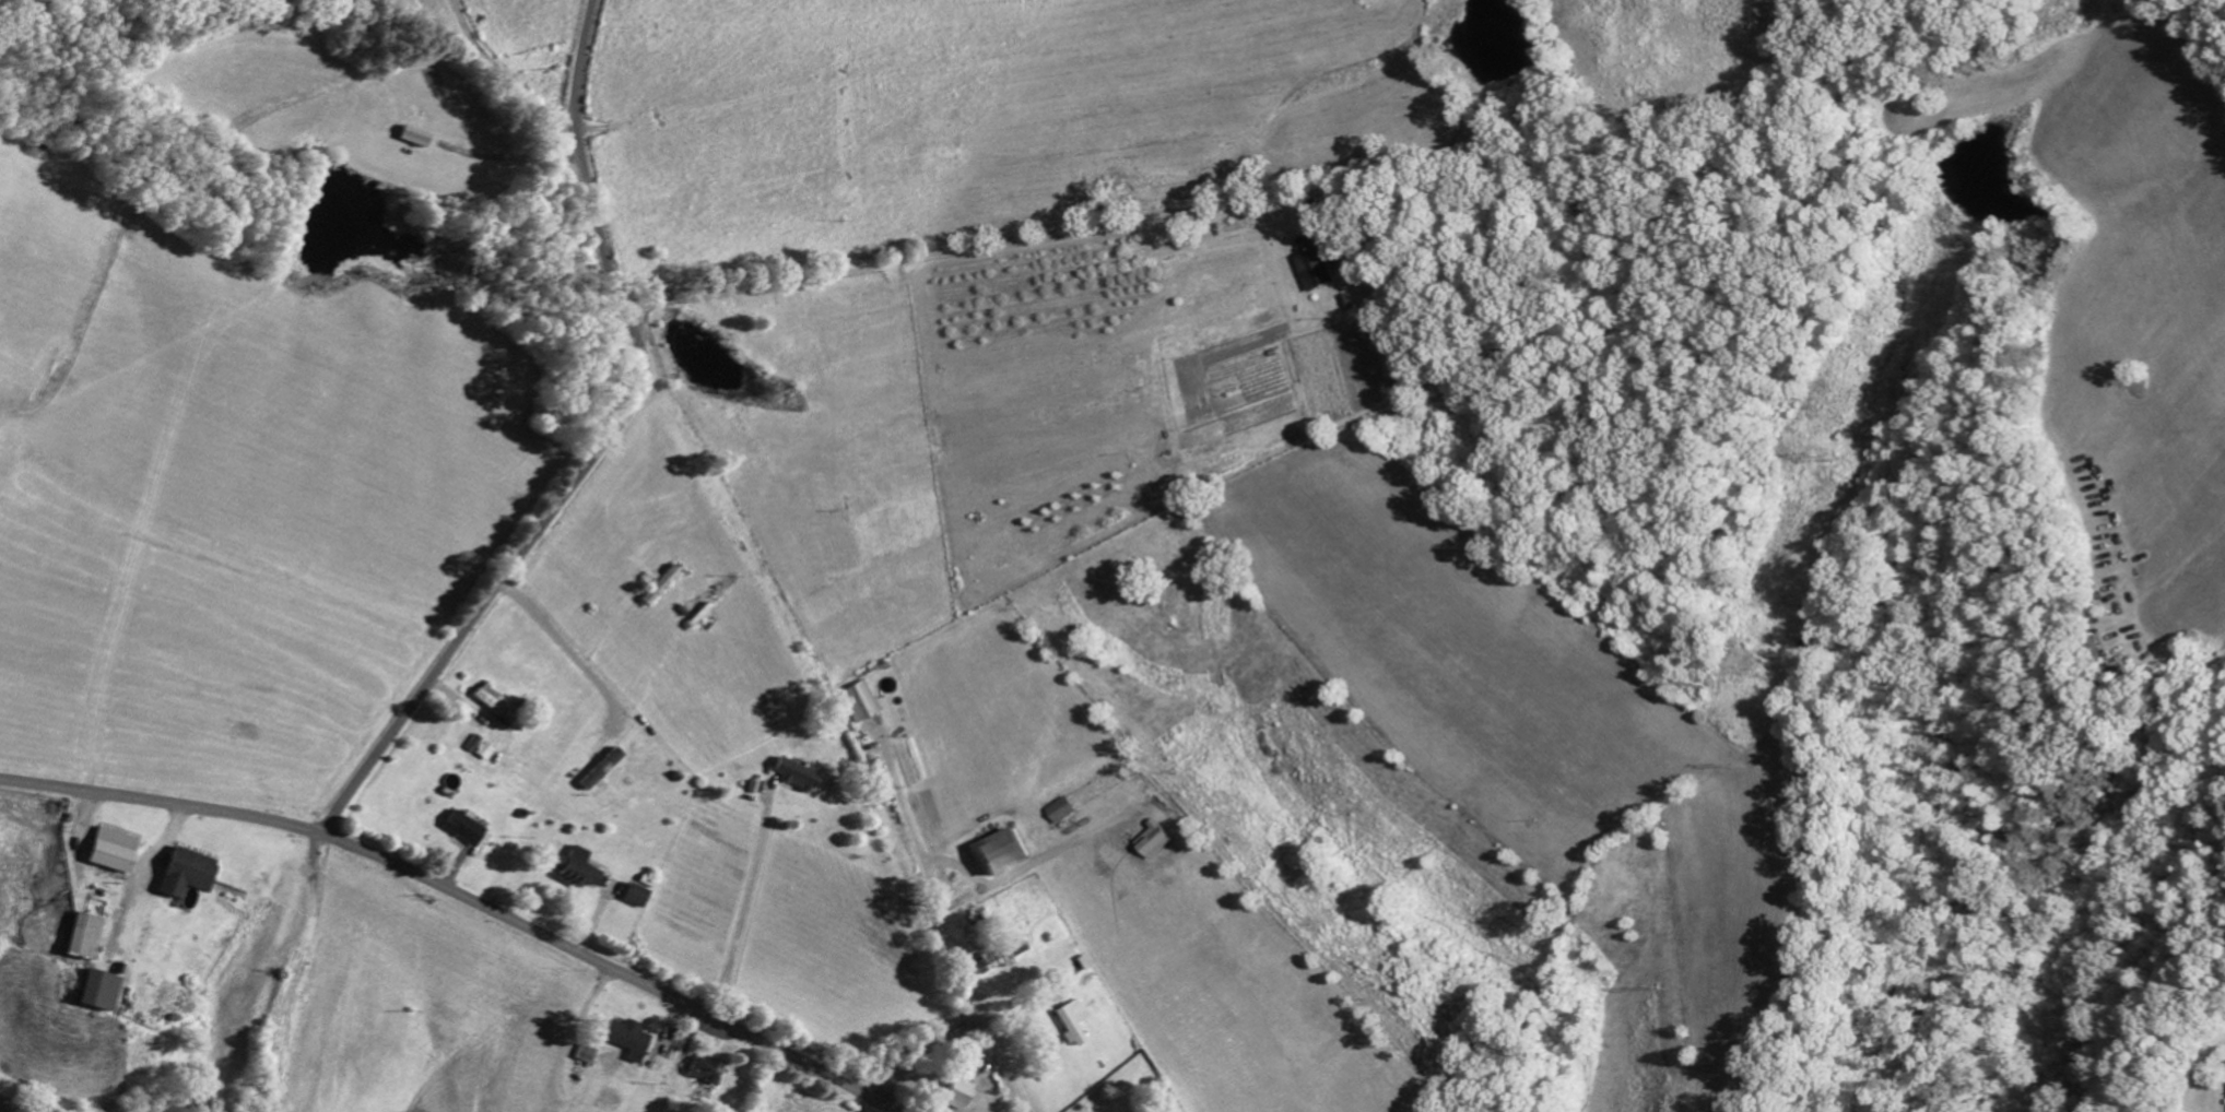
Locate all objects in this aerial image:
road: (814, 27)
road: (866, 46)
building: (419, 139)
building: (1329, 235)
road: (980, 252)
building: (1318, 265)
building: (1406, 385)
road: (603, 451)
power tower: (1822, 458)
building: (498, 703)
building: (863, 703)
building: (476, 744)
building: (487, 752)
power tower: (1730, 766)
building: (604, 770)
building: (799, 774)
building: (1067, 812)
building: (467, 829)
building: (117, 851)
building: (1009, 853)
building: (579, 870)
building: (191, 874)
road: (463, 896)
building: (639, 896)
power tower: (1659, 989)
building: (102, 992)
road: (974, 997)
building: (1076, 1022)
building: (633, 1040)
building: (711, 1072)
building: (964, 1092)

